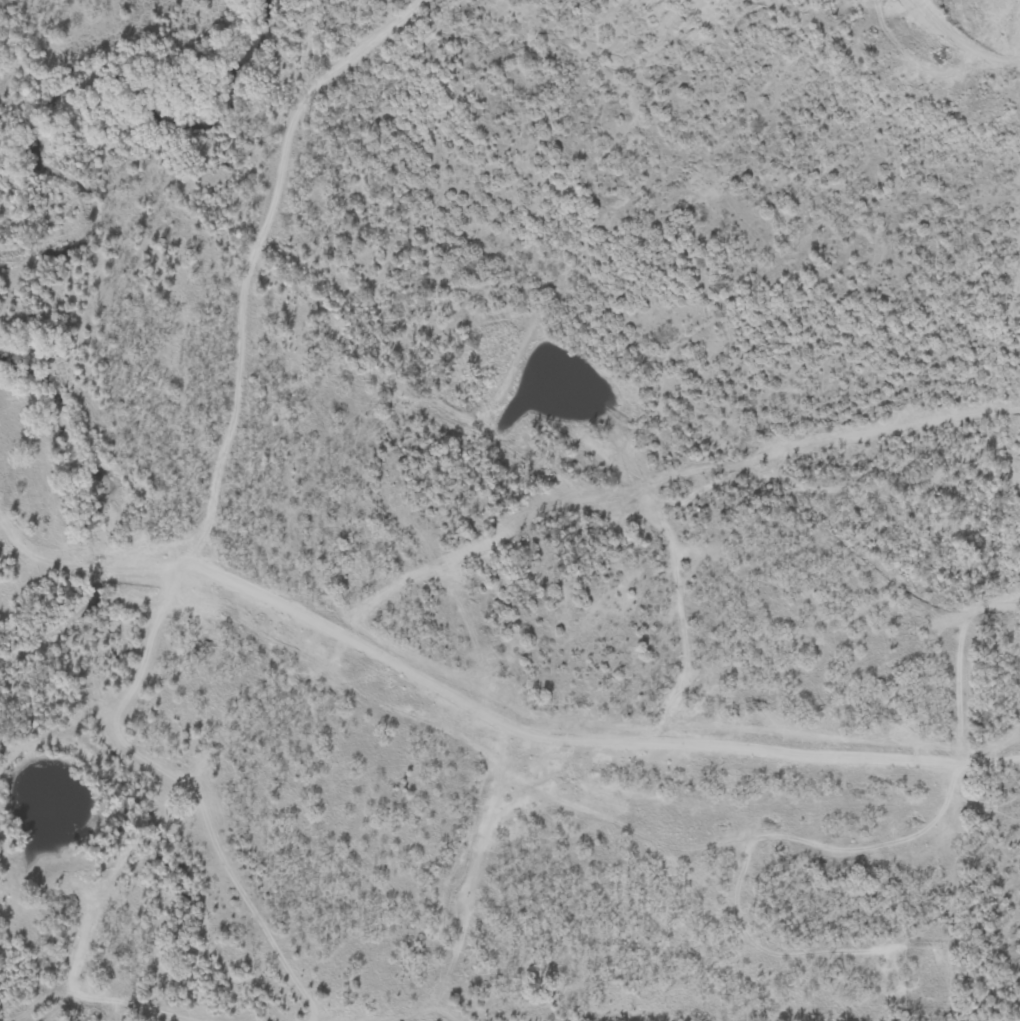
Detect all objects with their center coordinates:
road: (236, 352)

